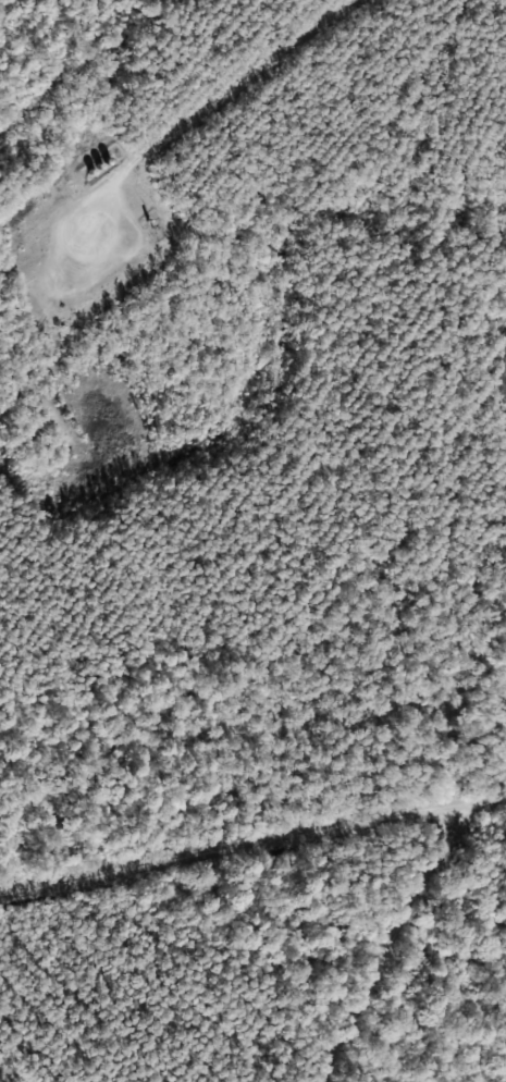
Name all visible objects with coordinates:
road: (252, 850)

